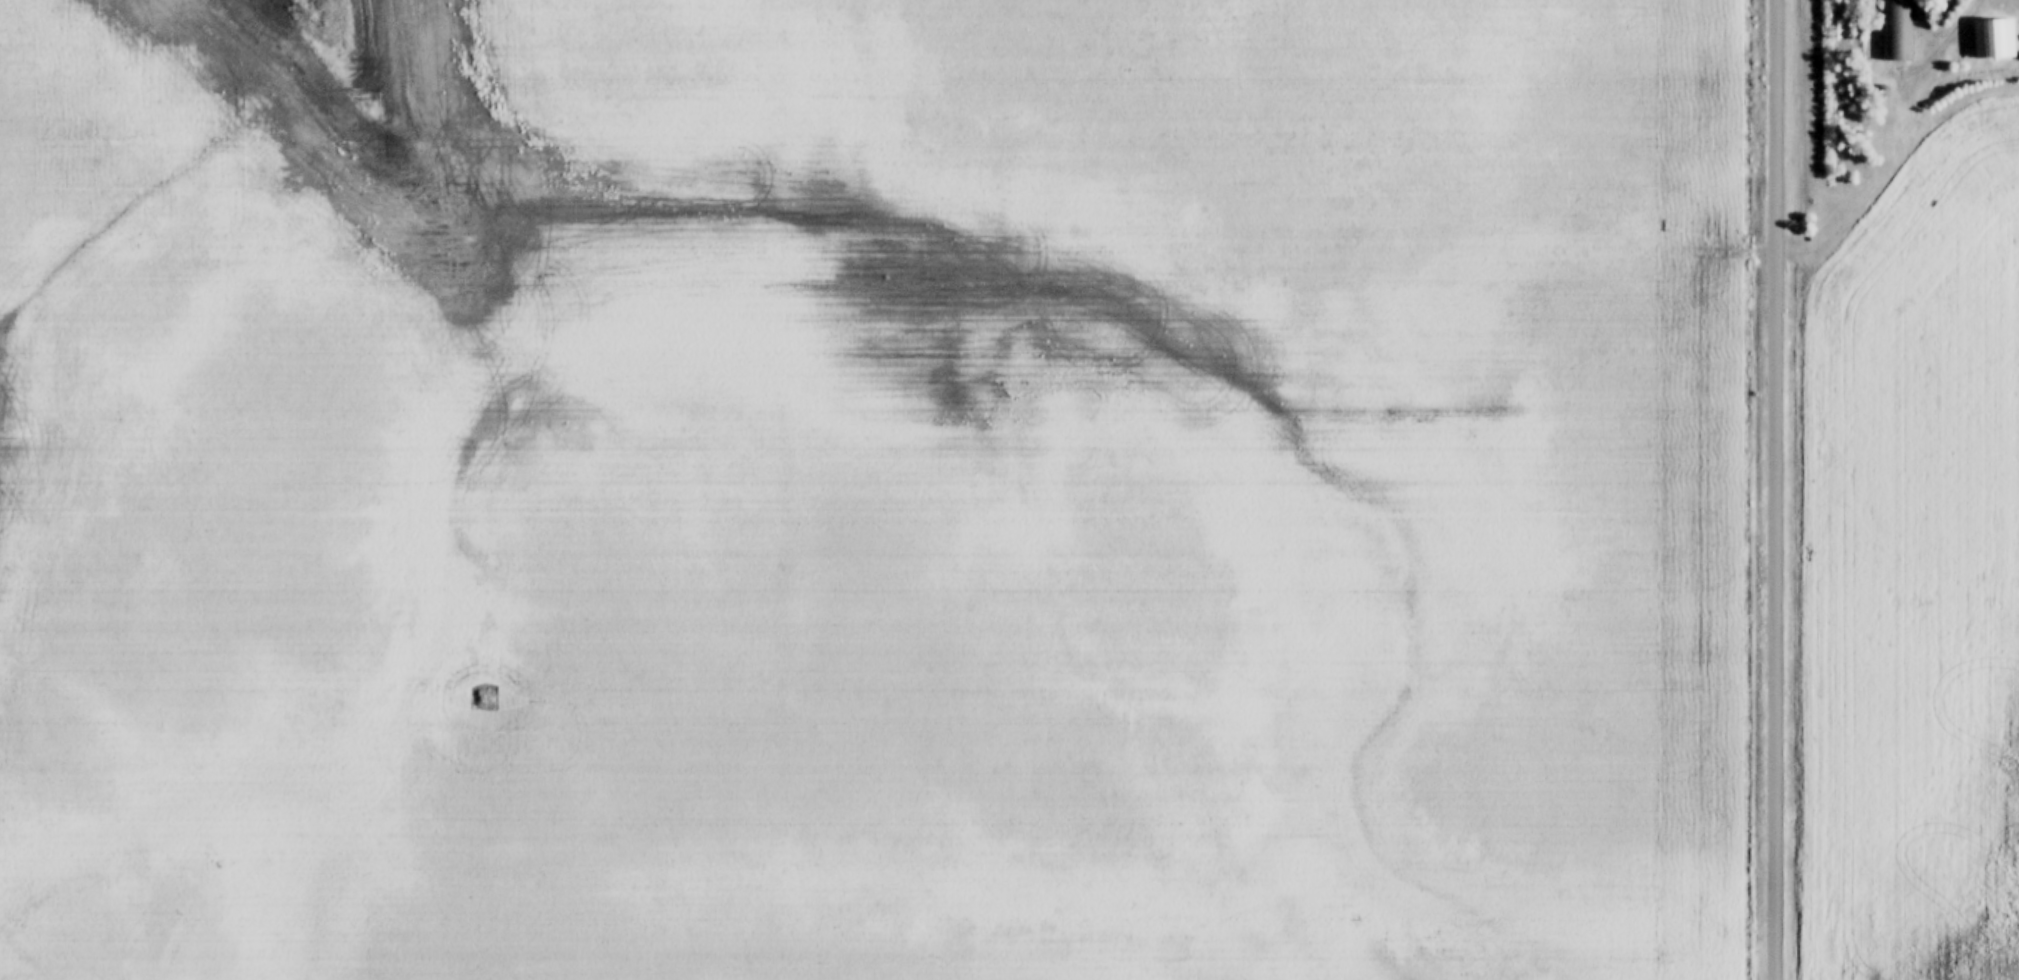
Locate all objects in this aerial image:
building: (1896, 29)
building: (1993, 38)
road: (1774, 489)

